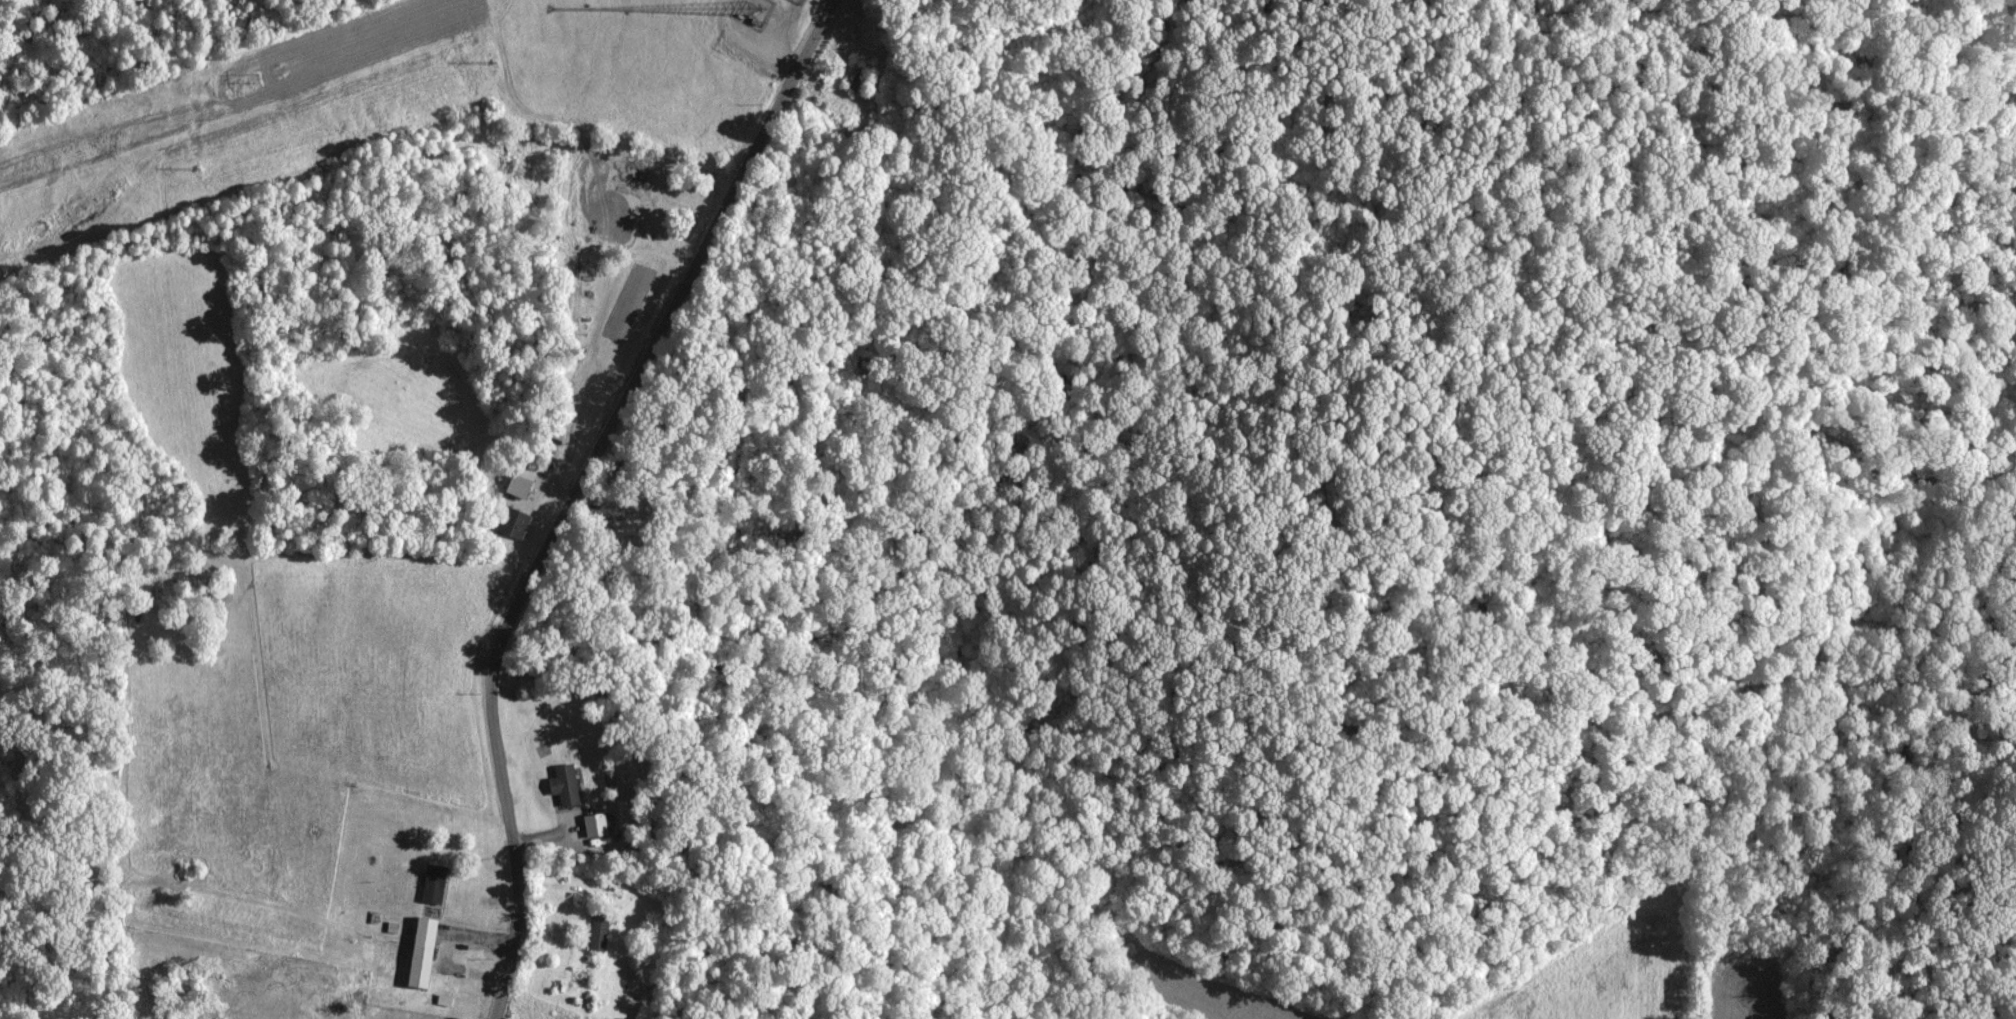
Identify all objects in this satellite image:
building: (856, 77)
building: (644, 205)
road: (572, 488)
building: (511, 523)
building: (561, 786)
building: (431, 884)
building: (595, 933)
building: (419, 953)

